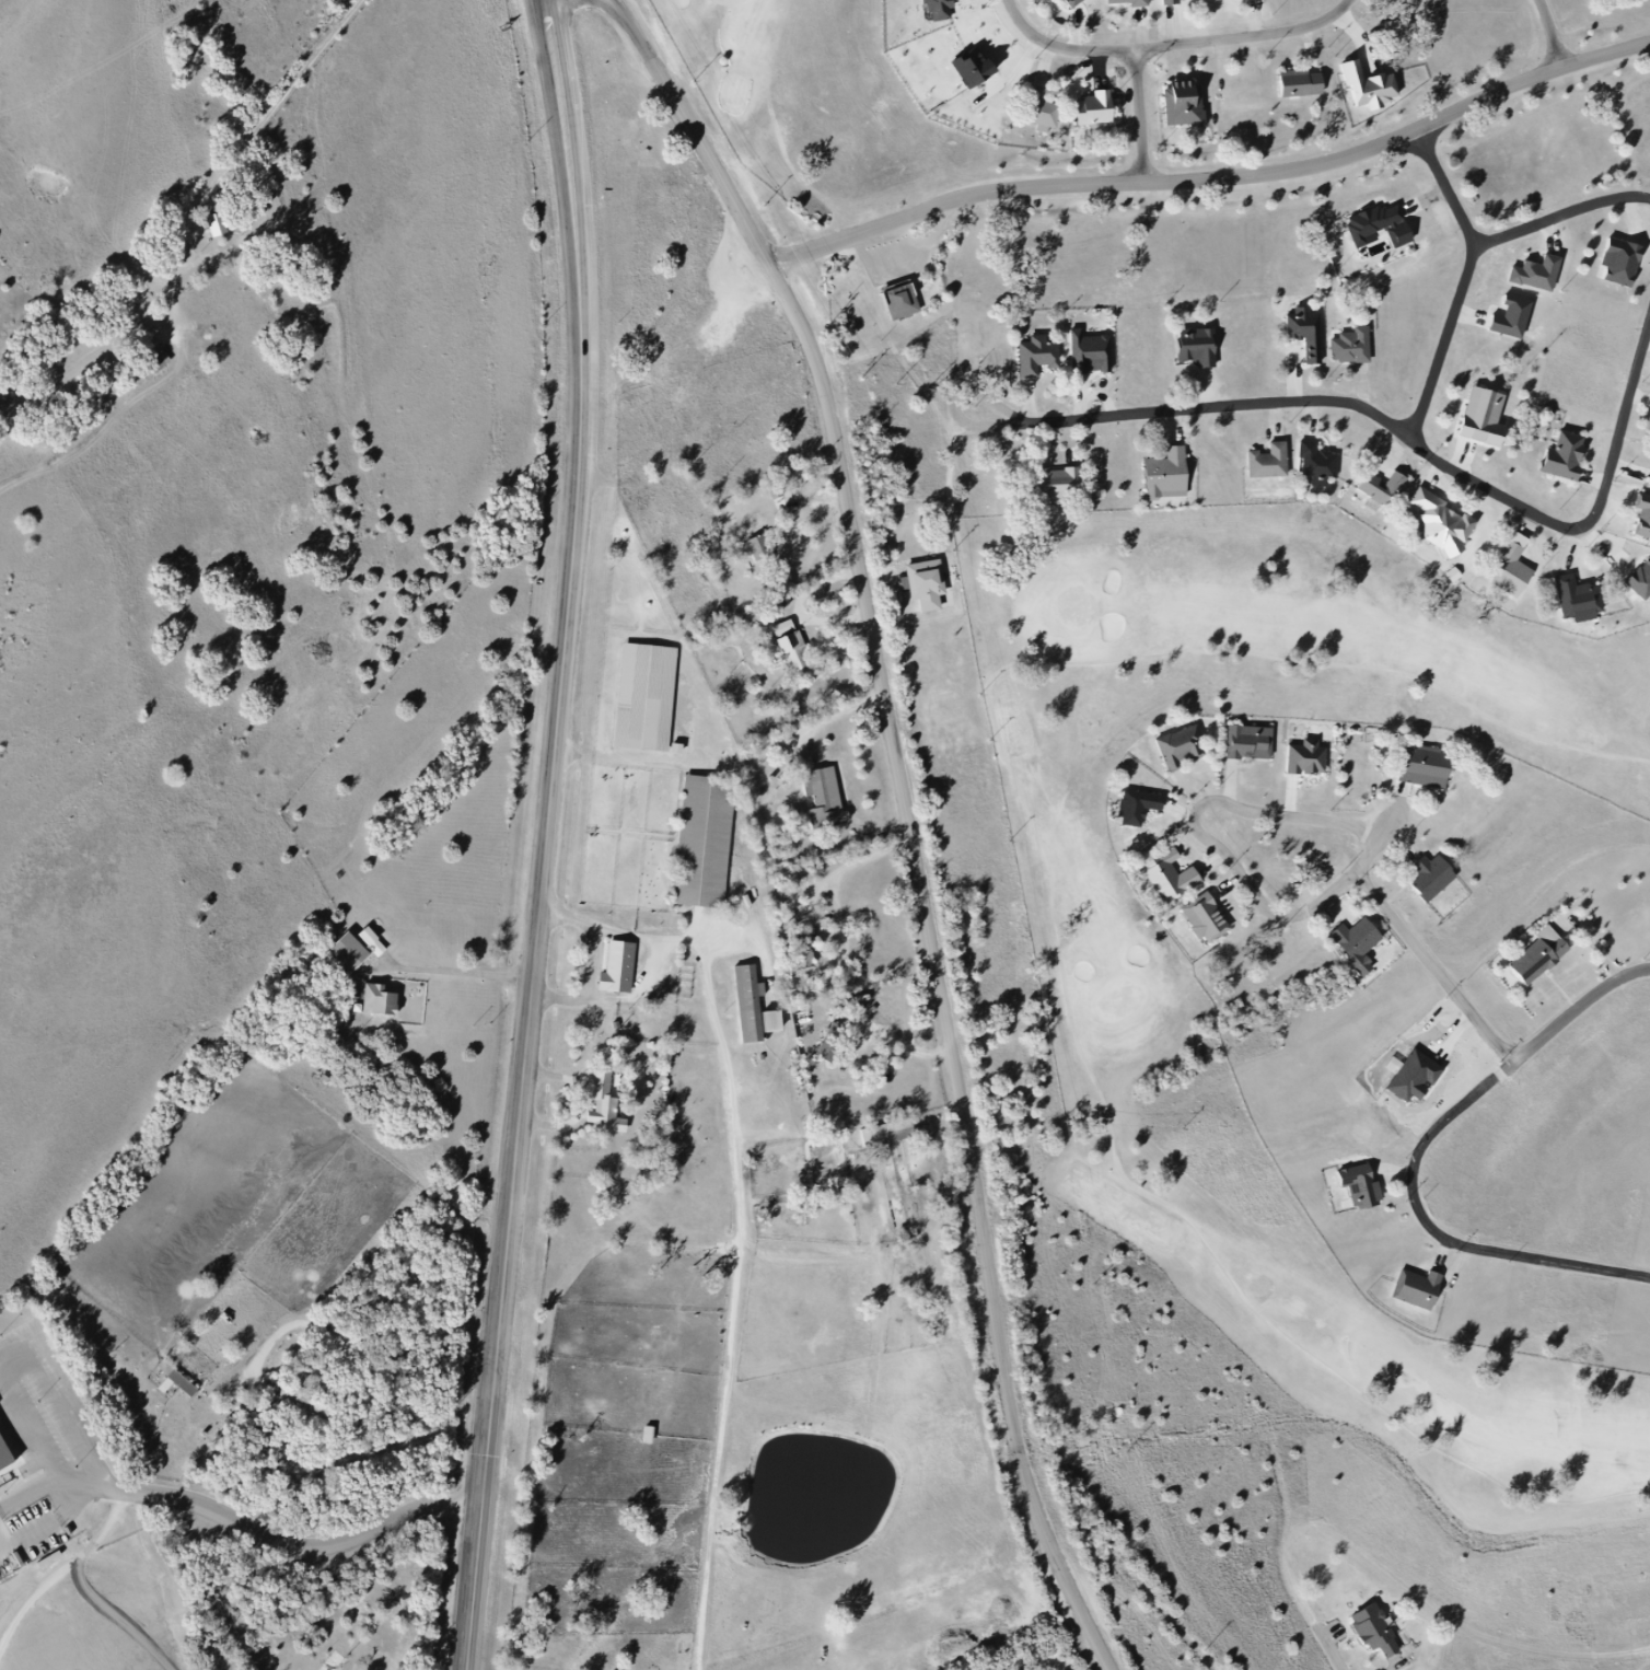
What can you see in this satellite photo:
building: (1054, 0)
building: (1259, 0)
road: (725, 2)
building: (1076, 4)
building: (1137, 5)
building: (1177, 5)
road: (1549, 33)
road: (1177, 43)
building: (980, 73)
building: (1309, 89)
building: (1376, 92)
building: (1189, 112)
road: (1147, 113)
building: (1047, 114)
building: (1102, 115)
road: (255, 125)
road: (1219, 179)
road: (1561, 214)
building: (209, 222)
building: (1373, 223)
building: (1620, 262)
building: (909, 303)
building: (1306, 333)
building: (1350, 346)
building: (1197, 347)
building: (1038, 355)
road: (1364, 405)
building: (1484, 417)
building: (1565, 455)
building: (1269, 461)
building: (1316, 462)
building: (1167, 474)
building: (1057, 486)
building: (1392, 488)
building: (1643, 515)
building: (1442, 520)
road: (1570, 530)
building: (759, 547)
building: (1511, 571)
road: (570, 575)
building: (763, 579)
building: (922, 584)
building: (1579, 599)
park: (1074, 607)
building: (782, 642)
building: (652, 697)
park: (1303, 739)
building: (1254, 745)
building: (1187, 752)
building: (1314, 761)
building: (1431, 772)
building: (820, 800)
building: (1144, 812)
road: (911, 819)
road: (1302, 819)
building: (711, 842)
building: (1177, 882)
building: (1440, 883)
road: (1053, 908)
building: (1206, 918)
building: (1362, 948)
building: (1544, 959)
building: (355, 960)
building: (614, 969)
road: (461, 971)
park: (1120, 1000)
building: (386, 1006)
building: (747, 1007)
building: (833, 1043)
building: (1418, 1082)
building: (599, 1104)
building: (893, 1133)
road: (1418, 1159)
building: (1368, 1186)
building: (1426, 1290)
building: (183, 1383)
road: (497, 1411)
building: (649, 1436)
building: (8, 1460)
road: (217, 1509)
building: (102, 1598)
building: (79, 1610)
building: (1380, 1633)
building: (48, 1639)
road: (1328, 1646)
building: (30, 1659)
building: (335, 1661)

